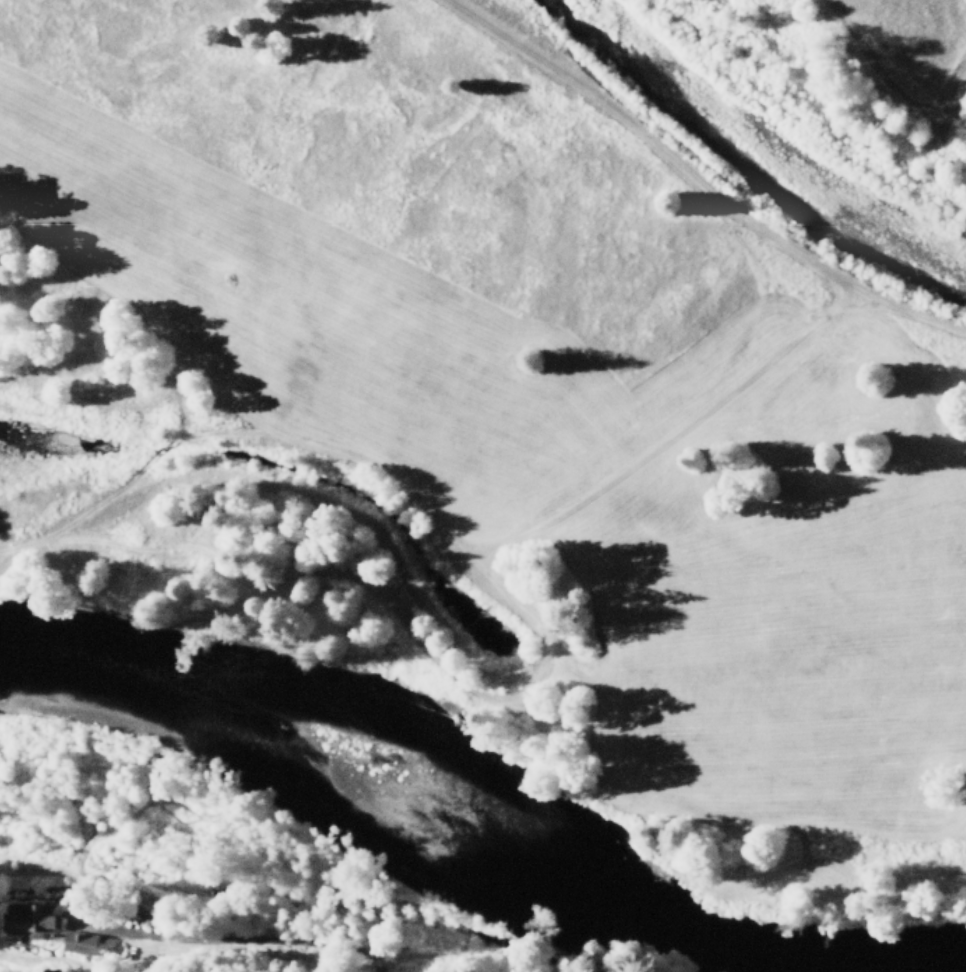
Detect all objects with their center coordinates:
river: (756, 160)
river: (421, 789)
building: (33, 916)
building: (82, 940)
river: (957, 970)

